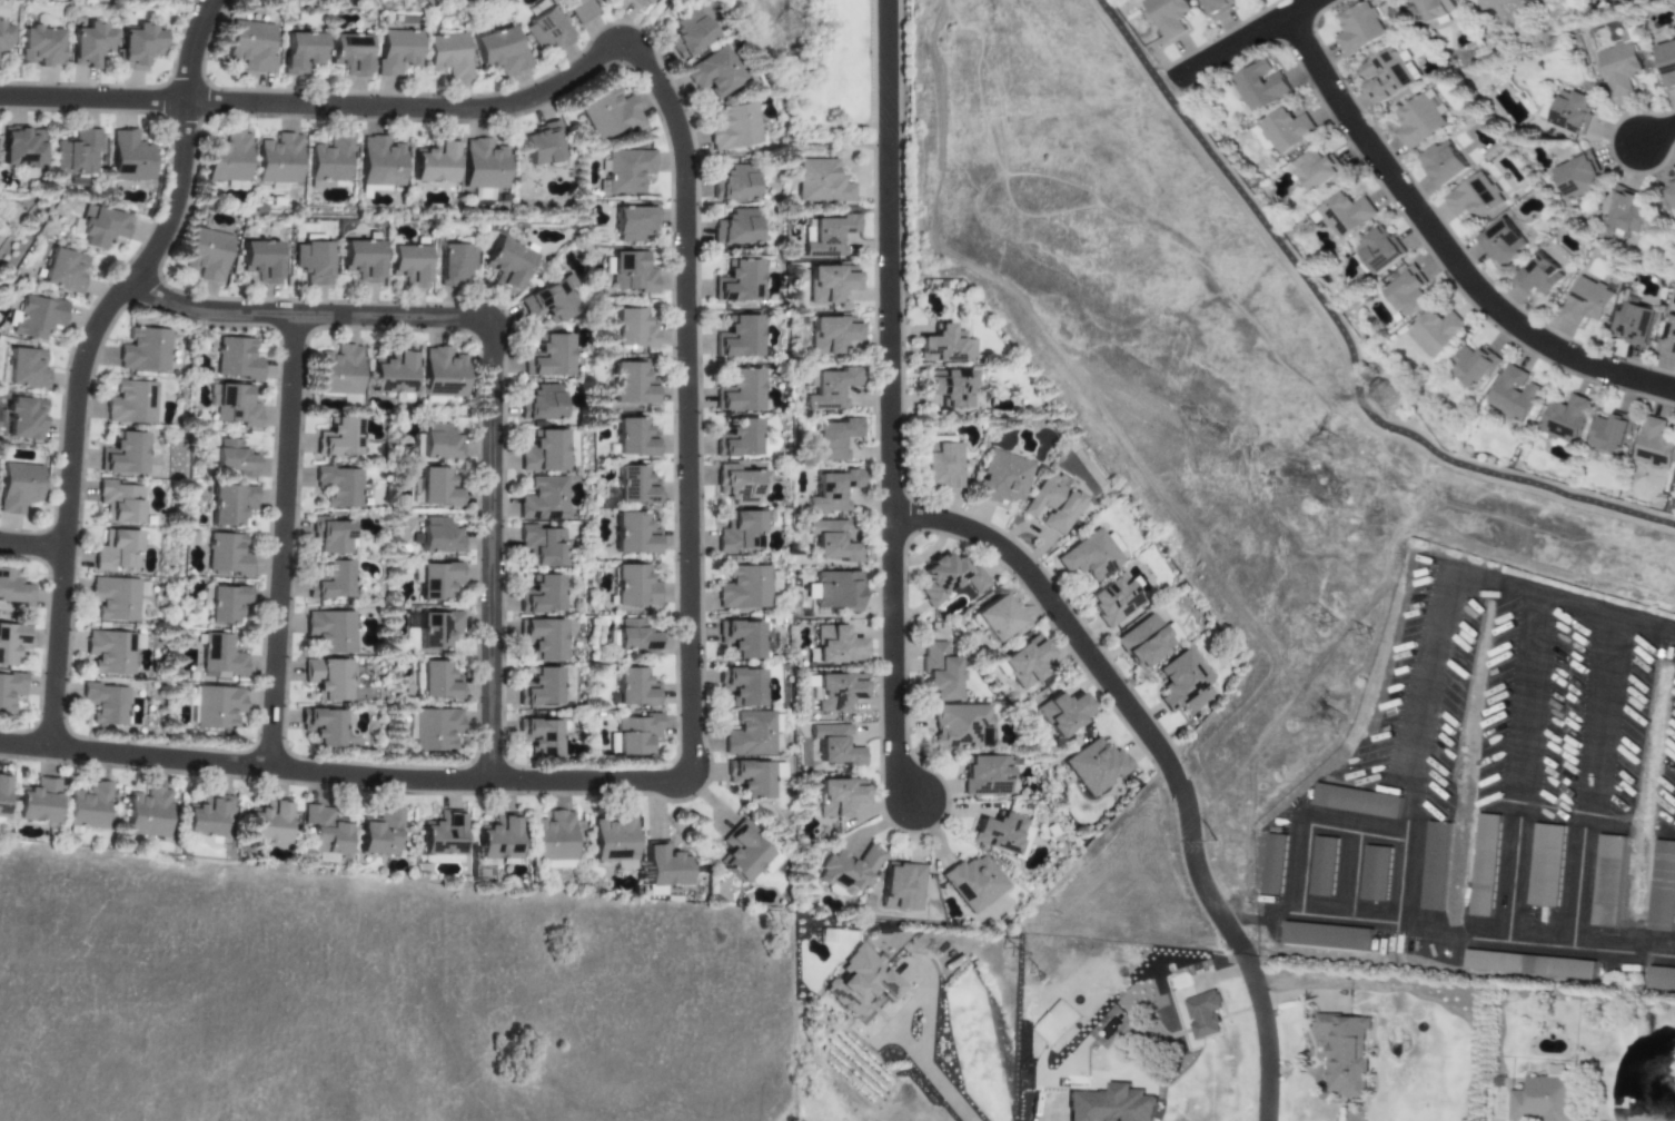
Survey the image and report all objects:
building: (637, 2)
building: (1495, 3)
building: (1218, 6)
building: (575, 9)
building: (1434, 9)
building: (1169, 16)
power tower: (792, 29)
building: (1359, 29)
building: (542, 31)
building: (685, 33)
building: (3, 39)
road: (1245, 40)
building: (90, 43)
building: (39, 47)
building: (139, 47)
building: (250, 47)
building: (494, 51)
building: (393, 52)
building: (297, 53)
building: (346, 54)
building: (443, 54)
building: (1666, 62)
park: (851, 65)
building: (1618, 68)
building: (712, 73)
road: (1167, 77)
building: (1385, 77)
building: (1260, 86)
road: (324, 105)
building: (1570, 111)
building: (606, 115)
building: (1418, 122)
building: (731, 127)
building: (1286, 130)
road: (1657, 132)
building: (1260, 139)
building: (22, 147)
building: (541, 147)
building: (77, 155)
building: (130, 158)
building: (229, 158)
building: (280, 159)
building: (328, 161)
building: (378, 162)
building: (432, 165)
building: (1443, 165)
building: (482, 166)
building: (1317, 170)
building: (625, 171)
building: (1577, 177)
building: (821, 183)
building: (732, 185)
building: (1669, 192)
building: (1475, 197)
building: (1344, 215)
building: (1623, 215)
building: (631, 225)
building: (101, 228)
building: (733, 228)
building: (827, 235)
building: (1501, 242)
road: (1444, 246)
building: (1379, 250)
building: (207, 254)
building: (261, 260)
building: (357, 260)
road: (892, 260)
building: (308, 262)
building: (403, 266)
building: (503, 266)
building: (450, 267)
building: (65, 271)
building: (628, 275)
building: (1539, 276)
building: (736, 282)
building: (827, 285)
building: (1404, 292)
building: (1586, 301)
building: (545, 304)
building: (37, 317)
road: (305, 317)
building: (1634, 321)
building: (631, 330)
building: (1436, 331)
road: (1344, 335)
building: (830, 336)
building: (1669, 337)
building: (736, 339)
building: (943, 347)
building: (145, 350)
building: (548, 357)
road: (86, 359)
building: (236, 359)
building: (1473, 365)
building: (27, 369)
building: (336, 371)
building: (442, 374)
building: (389, 375)
building: (628, 387)
building: (829, 388)
building: (945, 389)
building: (737, 393)
building: (1514, 394)
building: (349, 400)
building: (132, 403)
power tower: (1385, 403)
building: (539, 404)
road: (688, 404)
building: (236, 406)
building: (24, 418)
building: (1566, 418)
building: (1610, 433)
building: (337, 439)
building: (631, 439)
building: (830, 439)
building: (736, 440)
building: (434, 443)
building: (1654, 445)
power tower: (1326, 447)
building: (542, 453)
building: (125, 454)
building: (234, 458)
building: (939, 467)
building: (1000, 480)
building: (19, 487)
building: (337, 487)
building: (737, 487)
building: (433, 488)
building: (632, 488)
building: (831, 492)
building: (542, 500)
building: (120, 502)
building: (229, 504)
building: (1050, 506)
building: (739, 533)
building: (630, 536)
building: (328, 537)
building: (435, 537)
road: (283, 543)
building: (831, 544)
road: (33, 547)
building: (541, 547)
building: (118, 550)
road: (493, 553)
building: (225, 554)
building: (1087, 558)
building: (945, 579)
building: (435, 582)
building: (329, 583)
building: (631, 588)
building: (743, 588)
building: (14, 591)
building: (837, 593)
building: (539, 597)
building: (116, 598)
building: (1109, 603)
building: (225, 604)
building: (997, 621)
building: (434, 631)
building: (328, 634)
building: (541, 639)
building: (632, 639)
building: (737, 641)
building: (11, 642)
building: (1141, 643)
building: (835, 646)
building: (111, 652)
building: (219, 657)
road: (896, 663)
building: (1023, 664)
building: (936, 674)
road: (1110, 679)
building: (325, 681)
building: (1178, 682)
building: (433, 683)
building: (737, 688)
building: (539, 690)
building: (632, 690)
building: (10, 691)
building: (834, 694)
building: (107, 704)
building: (214, 707)
building: (1061, 714)
power tower: (1332, 725)
building: (324, 726)
building: (958, 727)
building: (434, 730)
building: (746, 735)
building: (632, 736)
building: (541, 737)
building: (833, 747)
building: (1094, 766)
road: (1520, 766)
road: (343, 775)
building: (983, 776)
road: (1589, 777)
building: (747, 781)
building: (2, 793)
building: (835, 800)
building: (1356, 801)
building: (37, 802)
building: (88, 808)
building: (146, 813)
building: (205, 815)
building: (266, 823)
road: (1367, 831)
building: (324, 833)
building: (378, 833)
building: (442, 834)
building: (997, 835)
building: (551, 839)
building: (611, 840)
building: (493, 841)
building: (739, 857)
building: (1273, 864)
building: (1483, 865)
building: (1545, 865)
building: (1322, 866)
building: (1435, 866)
building: (661, 867)
building: (848, 872)
road: (1347, 873)
building: (1375, 873)
road: (1407, 881)
building: (1607, 881)
building: (972, 883)
building: (901, 887)
building: (1662, 887)
building: (1327, 936)
road: (1235, 941)
building: (1528, 965)
building: (1661, 980)
building: (858, 983)
building: (1206, 1014)
road: (1263, 1035)
building: (1346, 1054)
building: (1555, 1071)
road: (932, 1075)
building: (1545, 1100)
building: (1112, 1104)

